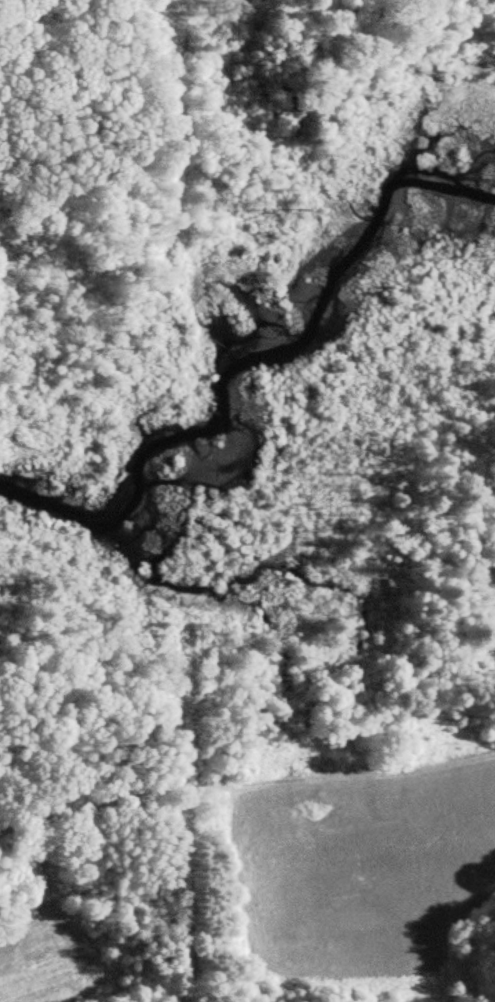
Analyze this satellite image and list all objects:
road: (249, 773)

